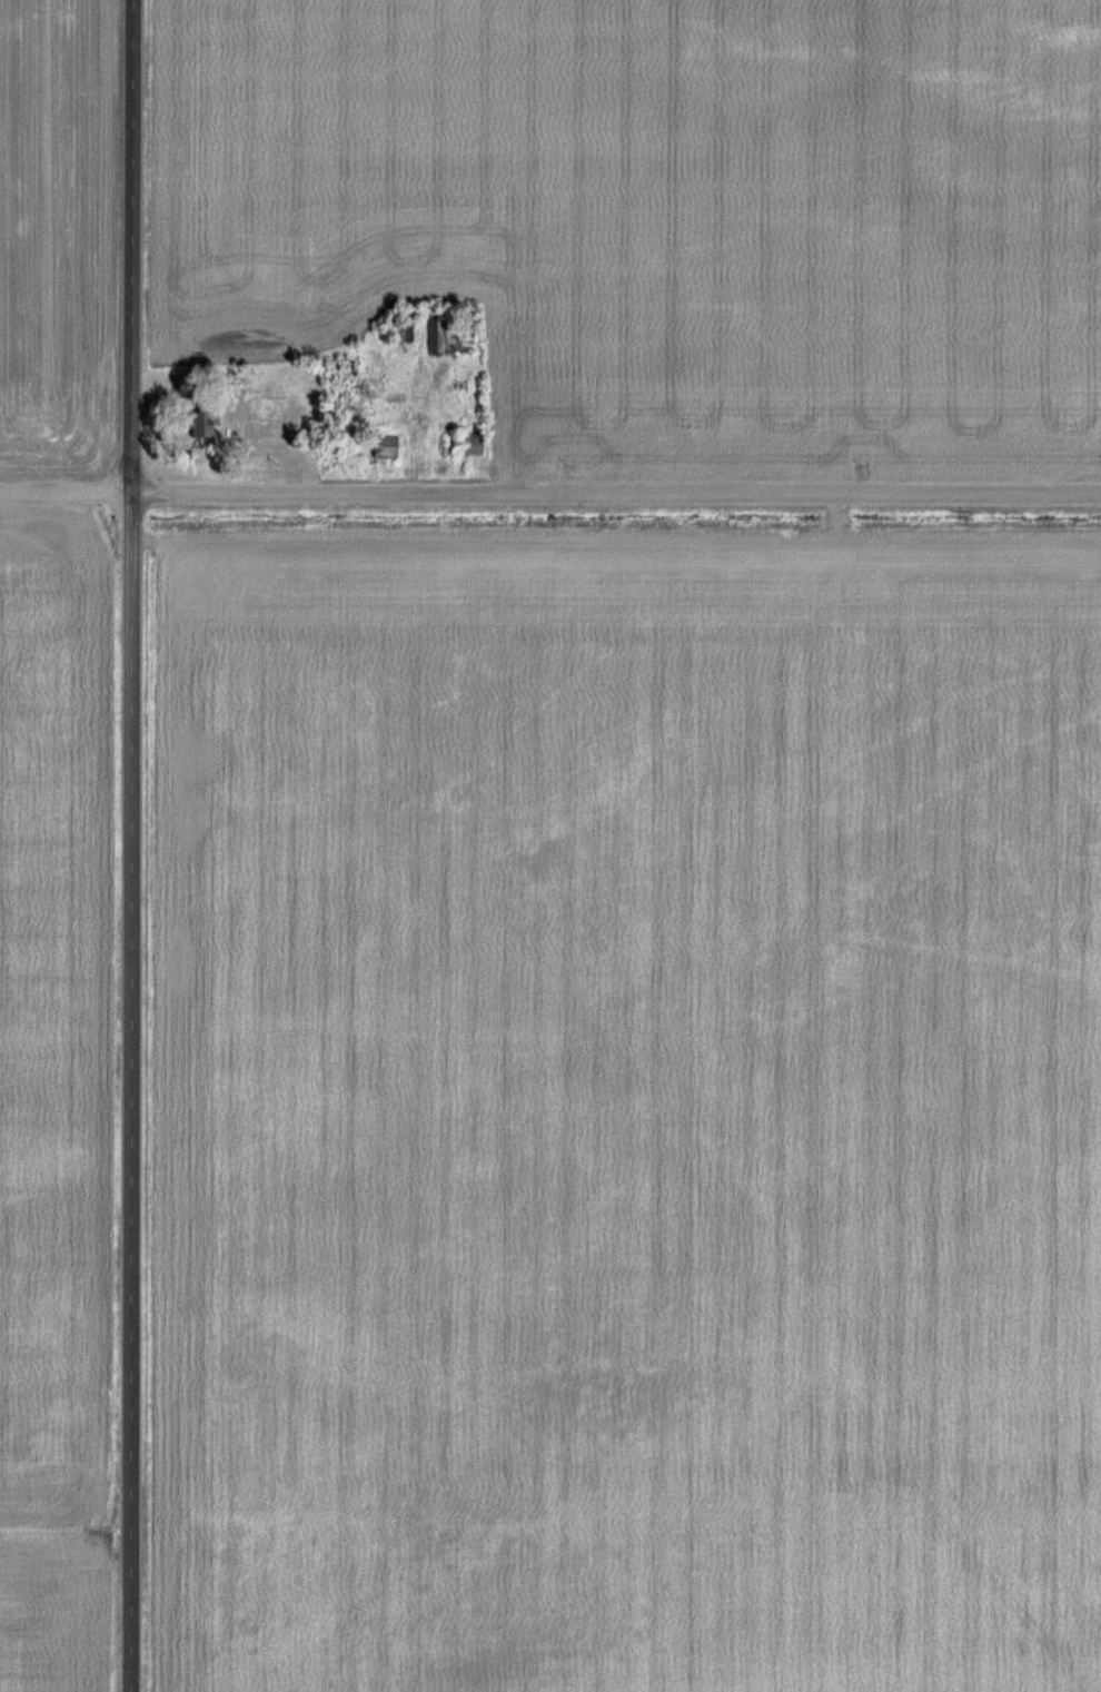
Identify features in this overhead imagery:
building: (404, 329)
building: (443, 335)
building: (338, 380)
building: (200, 422)
building: (466, 443)
building: (385, 445)
road: (549, 492)
road: (130, 845)

